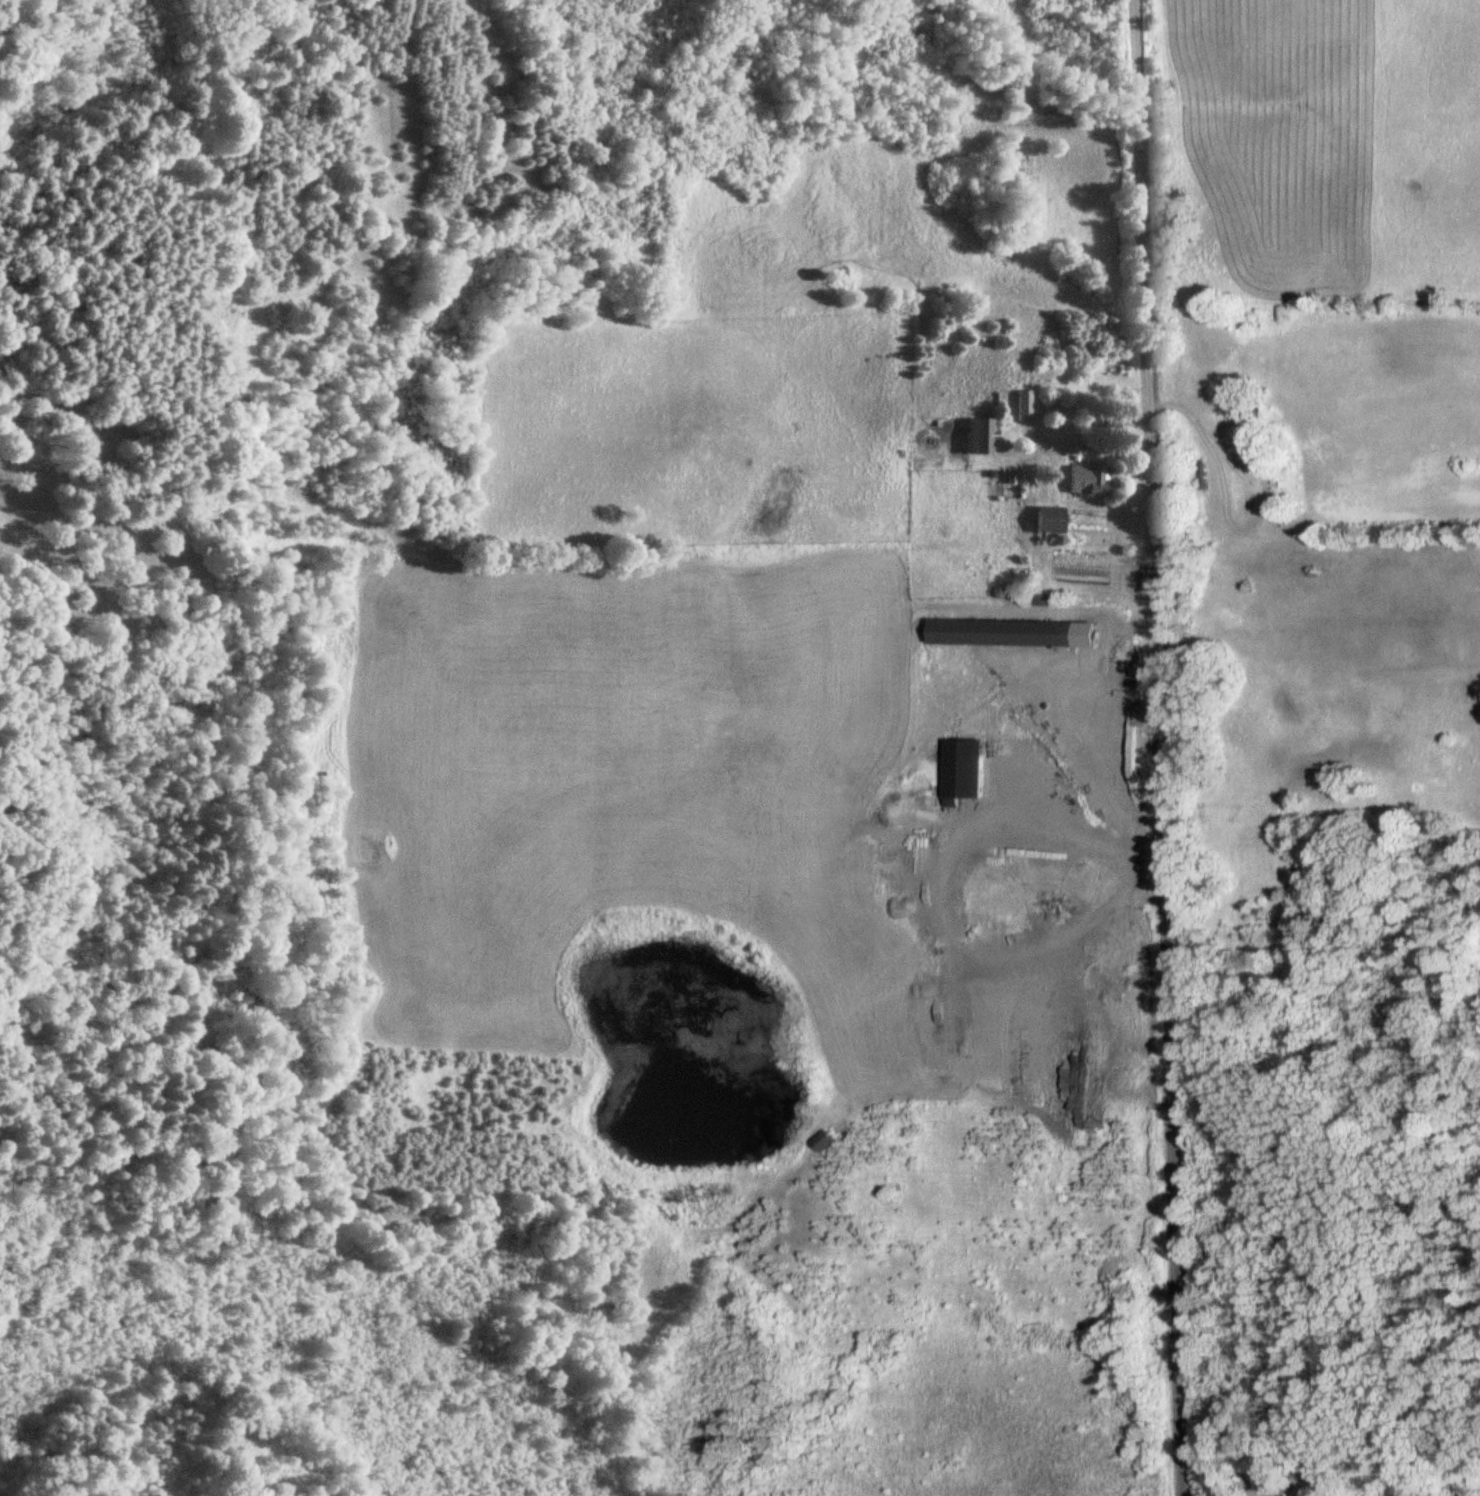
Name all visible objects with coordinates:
building: (982, 436)
building: (1090, 479)
building: (1051, 520)
building: (1014, 633)
road: (1156, 748)
building: (824, 1139)

